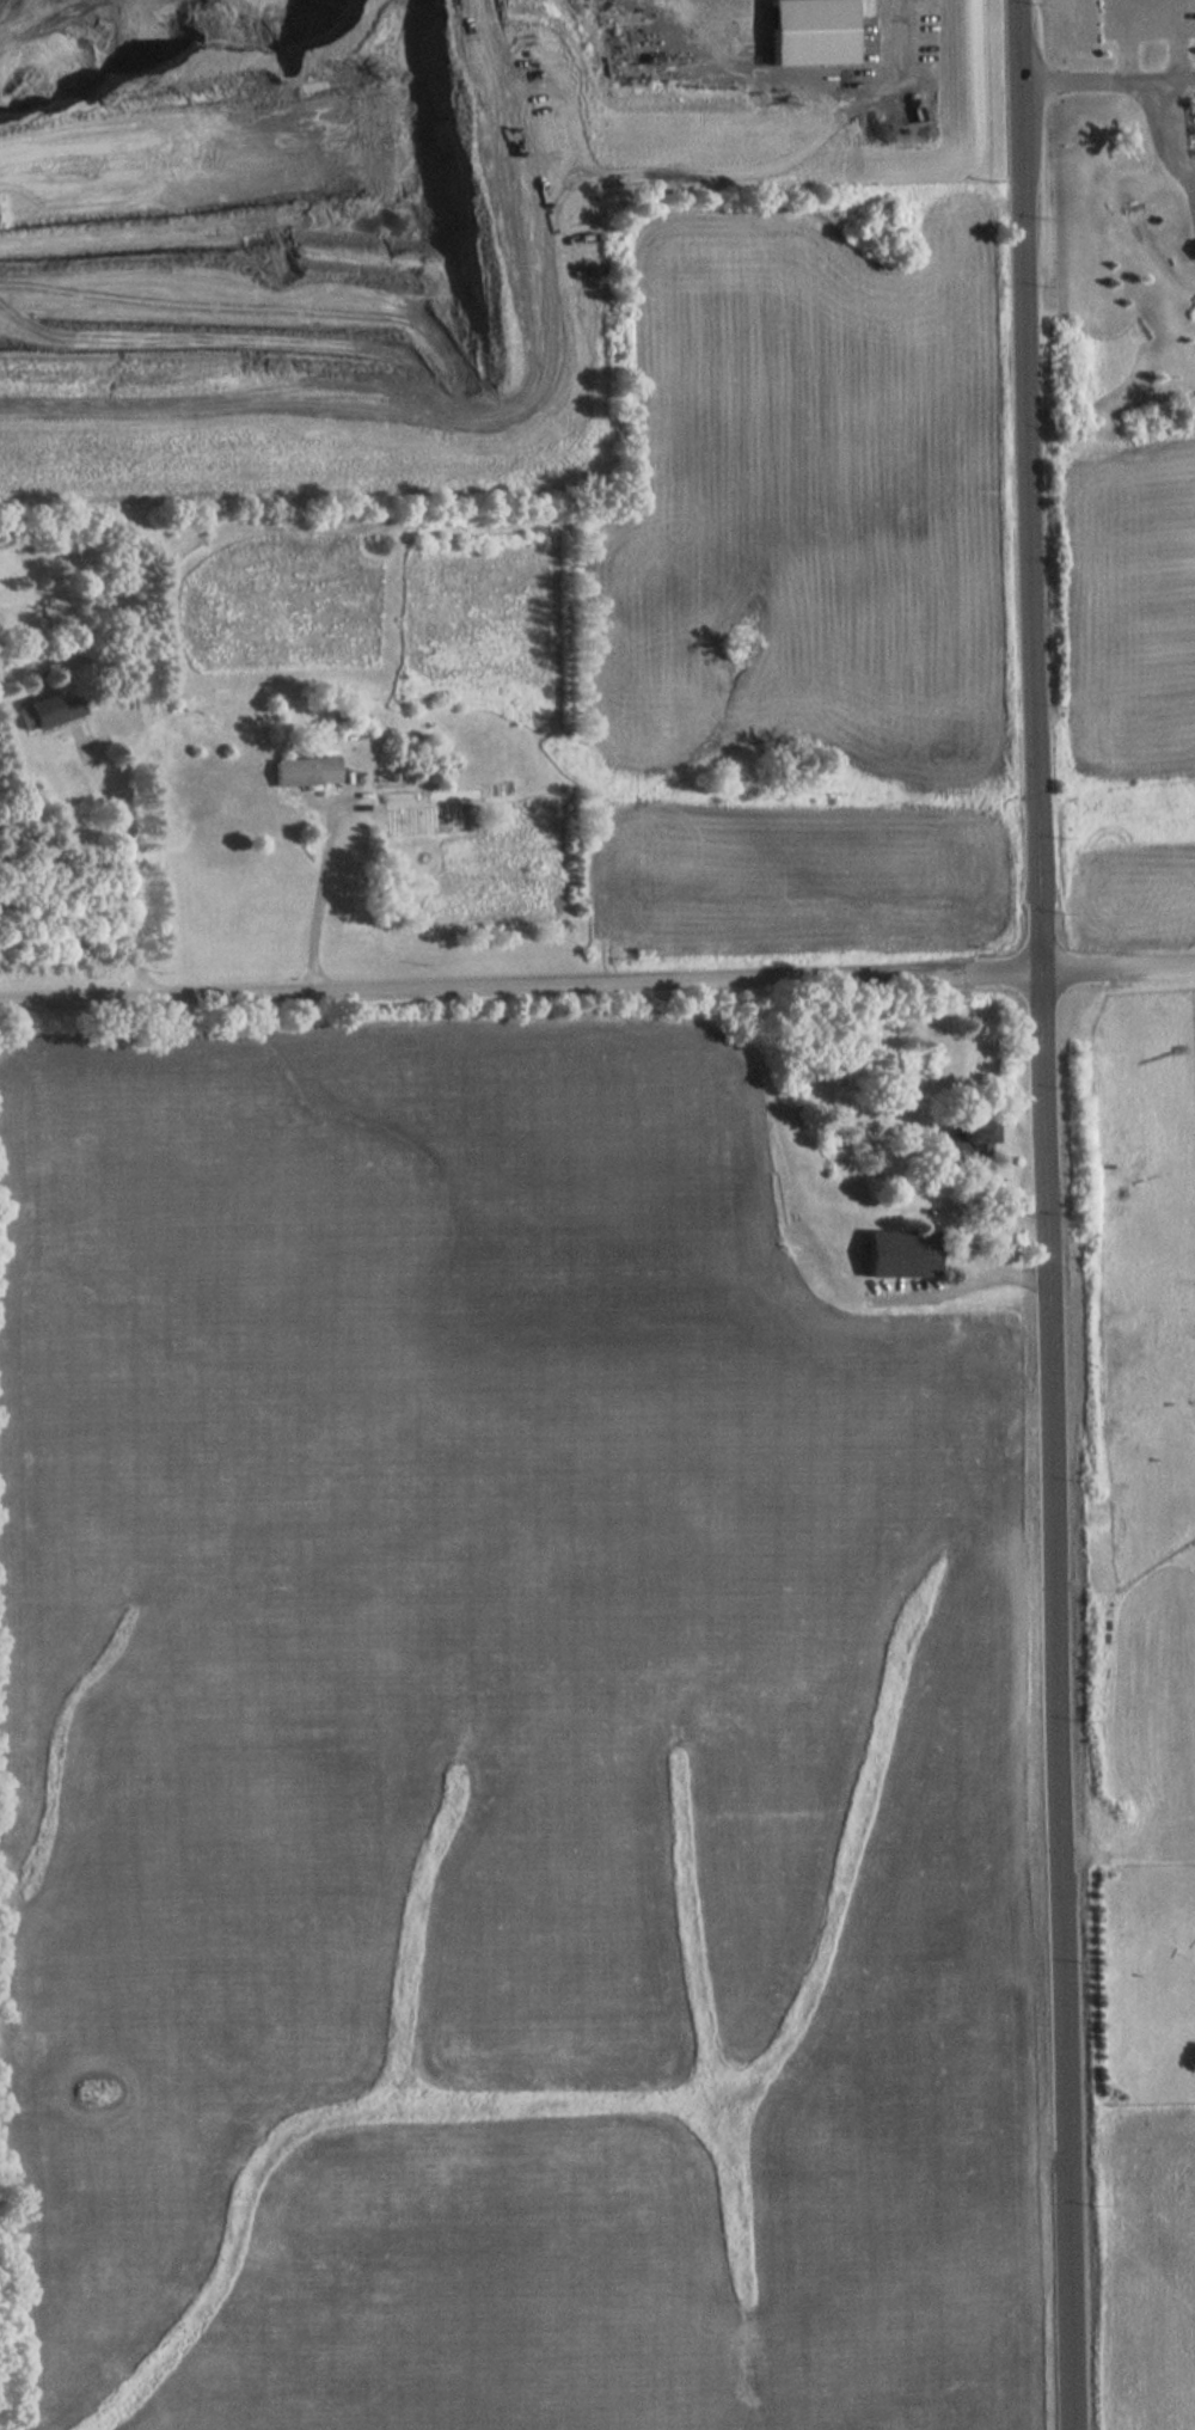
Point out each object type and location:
building: (811, 31)
road: (1164, 84)
road: (1075, 87)
road: (1159, 142)
quarry: (382, 209)
road: (1029, 482)
building: (48, 712)
building: (307, 771)
road: (127, 858)
road: (320, 900)
road: (1154, 962)
road: (1077, 963)
road: (999, 966)
road: (479, 987)
building: (972, 1141)
road: (955, 1232)
building: (900, 1255)
road: (1058, 1697)

